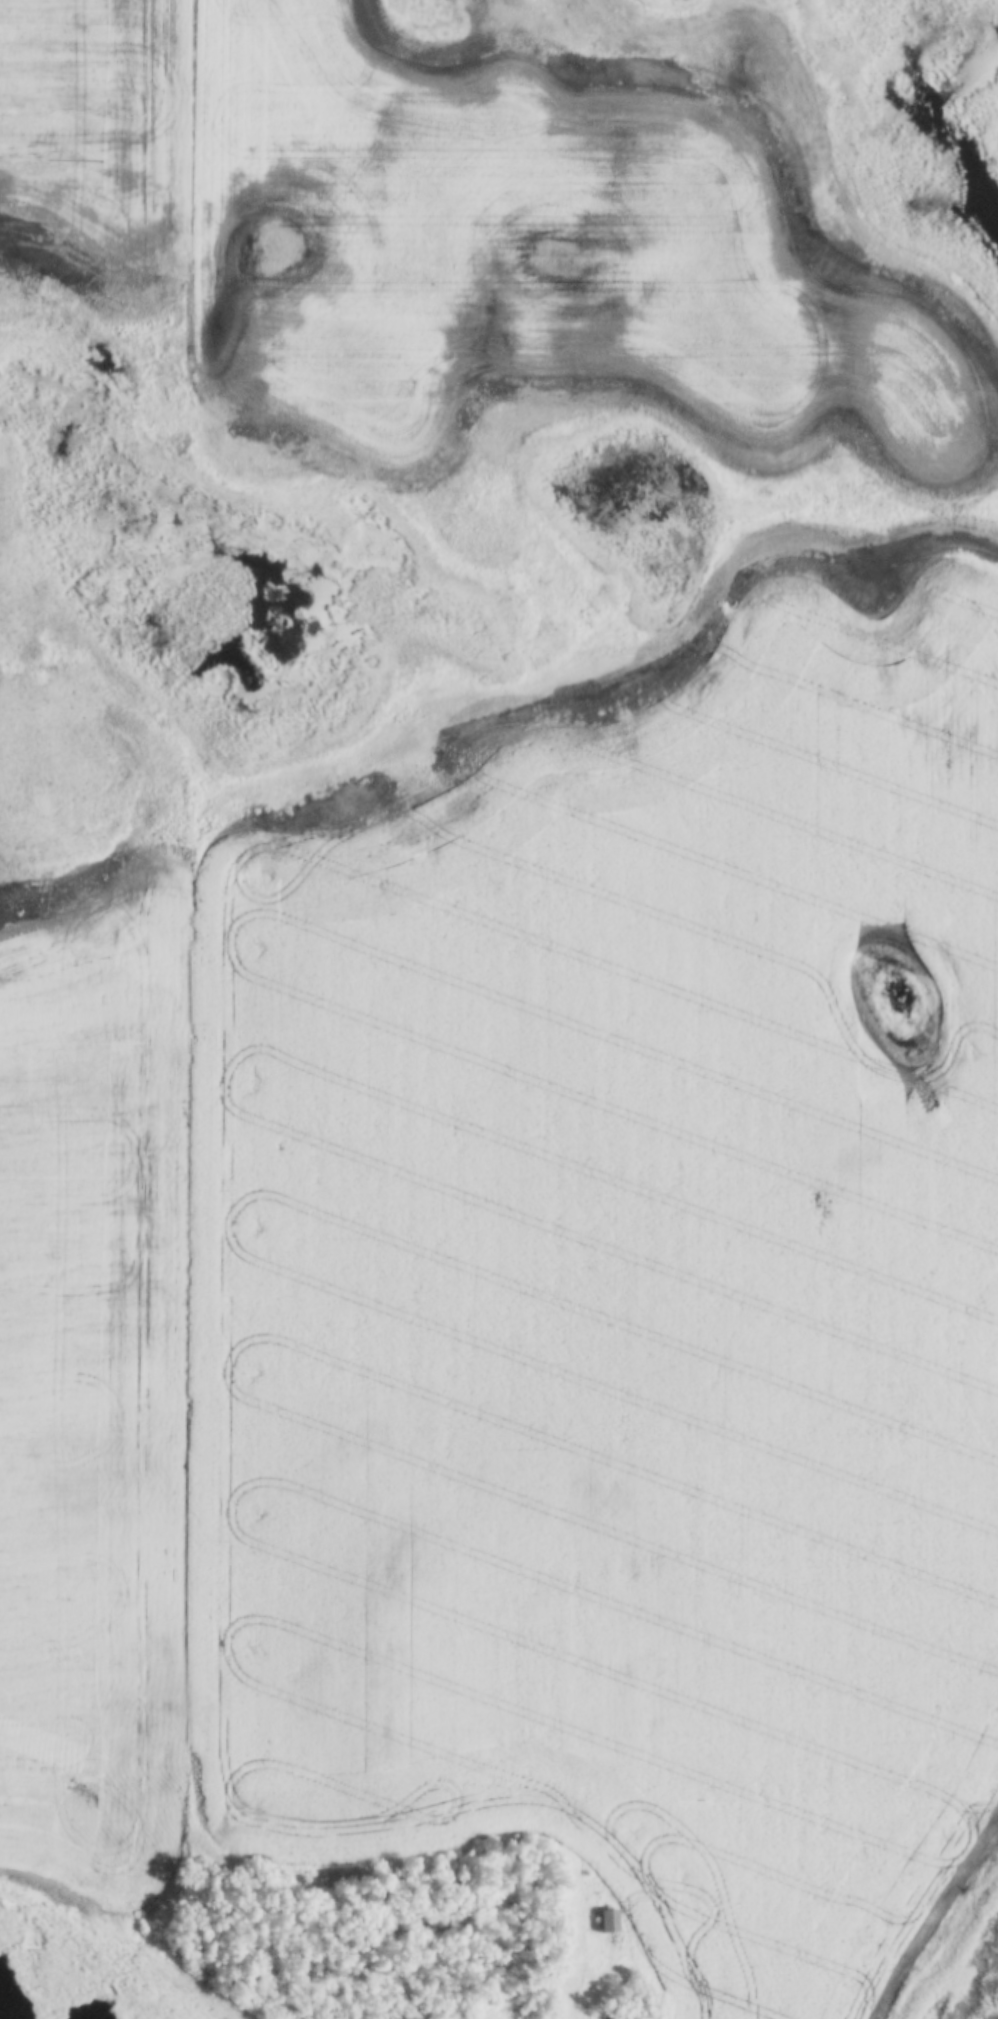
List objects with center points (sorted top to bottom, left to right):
building: (610, 1920)

